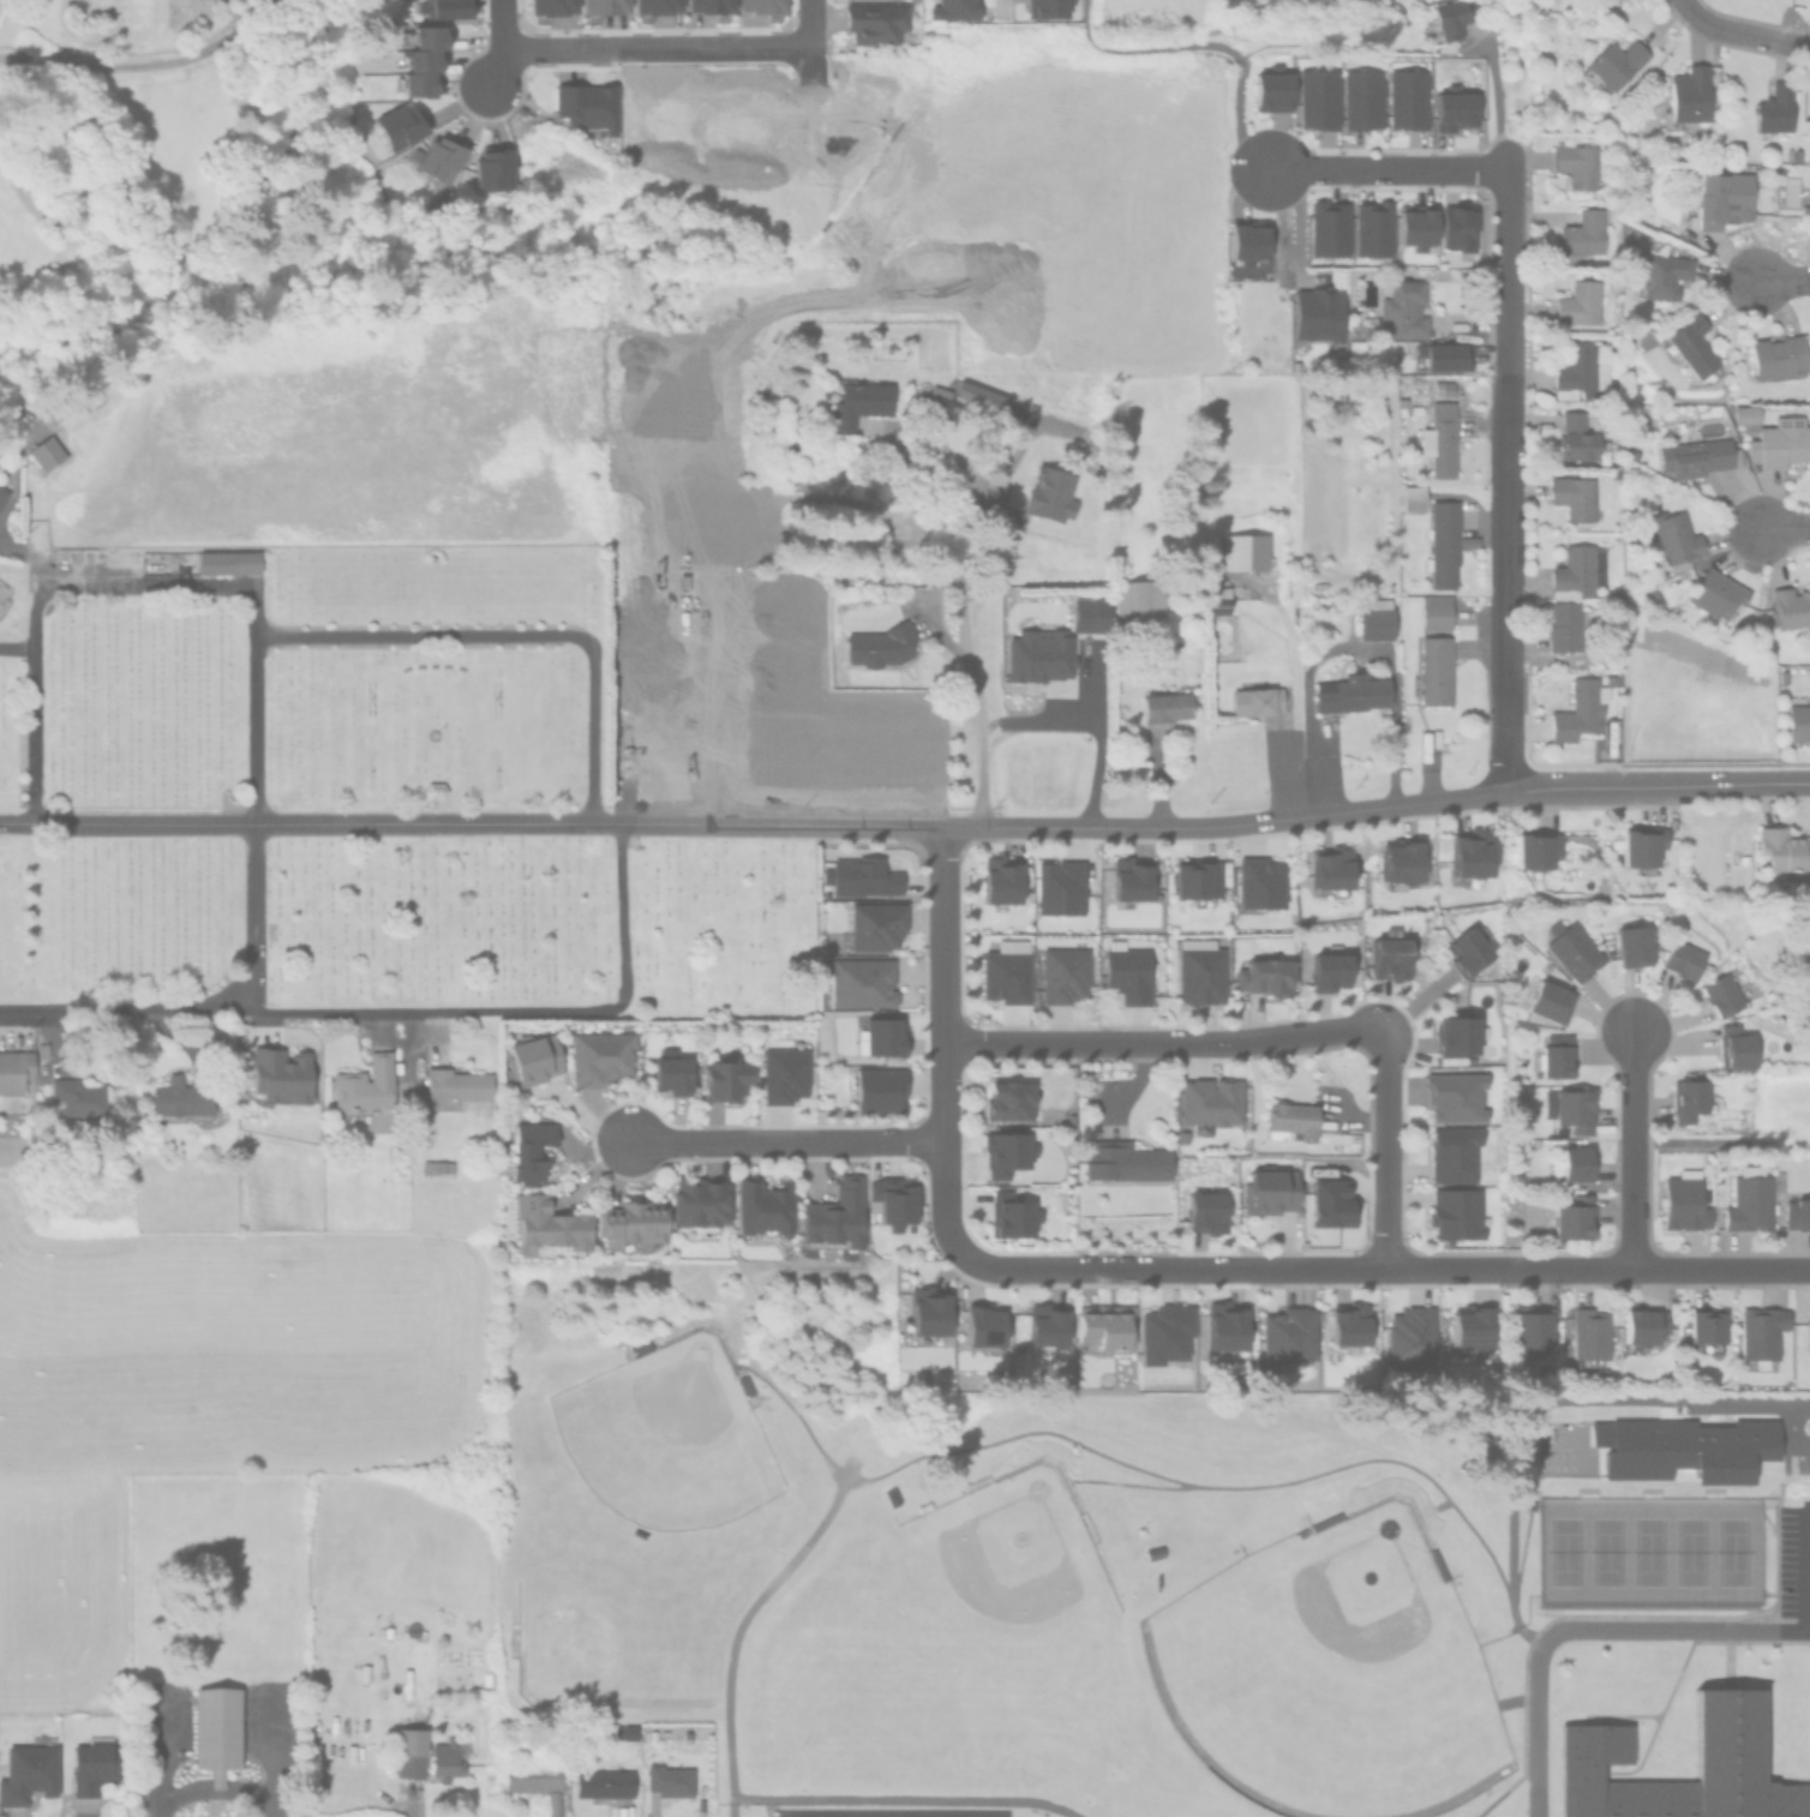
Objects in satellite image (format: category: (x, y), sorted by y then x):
building: (1228, 1)
road: (1001, 2)
road: (1682, 4)
building: (550, 6)
building: (603, 6)
building: (655, 6)
building: (708, 6)
building: (760, 6)
building: (440, 8)
building: (952, 8)
building: (1045, 8)
building: (1445, 17)
building: (873, 22)
road: (807, 23)
road: (1744, 34)
building: (431, 37)
road: (1205, 43)
road: (1265, 43)
road: (507, 44)
road: (657, 46)
building: (420, 60)
building: (1610, 62)
road: (145, 67)
building: (415, 83)
building: (1269, 88)
building: (1684, 95)
building: (1314, 97)
building: (1361, 98)
building: (1406, 98)
road: (1496, 103)
building: (585, 106)
building: (1772, 108)
building: (1454, 110)
building: (397, 126)
building: (438, 158)
building: (1576, 164)
building: (492, 169)
road: (1385, 170)
building: (1720, 197)
building: (1414, 223)
building: (1325, 227)
building: (1456, 228)
building: (1371, 229)
building: (1581, 230)
building: (1246, 238)
road: (1506, 272)
building: (1660, 275)
road: (1780, 278)
building: (1577, 302)
building: (1400, 308)
building: (1317, 312)
building: (1688, 343)
building: (1442, 355)
building: (1775, 355)
building: (1577, 372)
building: (1442, 388)
building: (931, 401)
building: (853, 402)
building: (1743, 413)
building: (1577, 436)
building: (1437, 438)
building: (1778, 442)
building: (47, 451)
building: (1692, 456)
building: (1572, 493)
building: (2, 494)
building: (1050, 496)
building: (1409, 498)
road: (1784, 527)
road: (661, 529)
building: (1672, 538)
building: (1440, 542)
building: (1242, 551)
building: (228, 560)
building: (1575, 570)
building: (1654, 575)
road: (1505, 583)
road: (235, 587)
building: (1714, 592)
building: (1650, 593)
building: (1134, 598)
building: (1215, 598)
building: (1788, 606)
building: (1433, 610)
building: (1086, 611)
building: (1373, 618)
building: (1562, 625)
road: (511, 637)
building: (875, 643)
road: (16, 646)
road: (1359, 647)
building: (1037, 652)
road: (967, 655)
building: (1576, 659)
building: (1433, 668)
road: (717, 679)
building: (1347, 692)
building: (1253, 700)
building: (1163, 704)
building: (1578, 706)
building: (1797, 718)
road: (1309, 752)
road: (1096, 757)
road: (1395, 757)
road: (1656, 787)
building: (434, 790)
park: (359, 798)
road: (753, 826)
building: (1640, 844)
building: (1784, 847)
building: (1535, 848)
building: (1469, 851)
building: (1397, 862)
building: (1329, 869)
building: (1126, 875)
building: (858, 876)
building: (1193, 877)
building: (999, 880)
building: (1257, 880)
building: (1057, 883)
road: (621, 912)
building: (874, 921)
road: (940, 933)
building: (1802, 934)
building: (1632, 942)
building: (1466, 947)
building: (1572, 947)
building: (1386, 953)
building: (1680, 957)
building: (1325, 966)
building: (1199, 969)
building: (1125, 970)
building: (1061, 971)
building: (1003, 973)
building: (1263, 973)
building: (1804, 975)
building: (855, 979)
building: (1722, 990)
building: (1548, 999)
road: (328, 1011)
road: (16, 1012)
building: (1455, 1031)
building: (881, 1036)
road: (1157, 1041)
building: (1733, 1044)
building: (41, 1048)
building: (1553, 1054)
building: (598, 1055)
building: (528, 1057)
building: (14, 1068)
building: (670, 1072)
building: (781, 1072)
building: (278, 1074)
building: (724, 1075)
building: (456, 1081)
building: (365, 1084)
building: (876, 1086)
road: (1383, 1092)
building: (1452, 1093)
building: (78, 1096)
building: (1006, 1097)
building: (1686, 1097)
building: (182, 1098)
building: (1207, 1102)
building: (1570, 1104)
building: (1287, 1119)
road: (784, 1139)
road: (1632, 1146)
road: (940, 1147)
building: (528, 1149)
building: (1002, 1150)
building: (1451, 1151)
building: (1121, 1159)
building: (1575, 1161)
building: (437, 1165)
building: (1267, 1187)
building: (889, 1198)
building: (1749, 1198)
building: (1683, 1199)
building: (1329, 1201)
building: (695, 1205)
building: (760, 1205)
building: (1205, 1210)
road: (1382, 1210)
building: (1454, 1211)
building: (1796, 1211)
building: (833, 1212)
building: (1009, 1213)
building: (1571, 1216)
building: (544, 1219)
building: (629, 1222)
road: (1227, 1266)
road: (1655, 1267)
building: (925, 1311)
building: (1345, 1321)
building: (1042, 1324)
building: (1703, 1324)
building: (1224, 1325)
building: (1102, 1326)
building: (1641, 1326)
building: (1806, 1326)
building: (982, 1327)
building: (1529, 1329)
building: (1162, 1331)
building: (1468, 1331)
building: (1588, 1331)
building: (1285, 1332)
building: (1760, 1335)
building: (1408, 1336)
building: (641, 1344)
building: (744, 1383)
road: (1748, 1404)
road: (1791, 1431)
park: (664, 1440)
building: (1682, 1449)
road: (1231, 1487)
building: (889, 1493)
building: (1324, 1519)
building: (1152, 1552)
park: (1646, 1552)
building: (1437, 1563)
parking lot: (1792, 1570)
road: (1805, 1570)
park: (996, 1578)
road: (774, 1579)
road: (1587, 1631)
park: (587, 1641)
park: (1325, 1675)
building: (217, 1727)
building: (623, 1729)
building: (1592, 1744)
building: (412, 1750)
building: (449, 1757)
building: (96, 1762)
building: (30, 1769)
building: (670, 1779)
building: (540, 1781)
building: (610, 1781)
road: (210, 1792)
road: (903, 1800)
building: (833, 1813)
building: (899, 1813)
building: (972, 1813)

